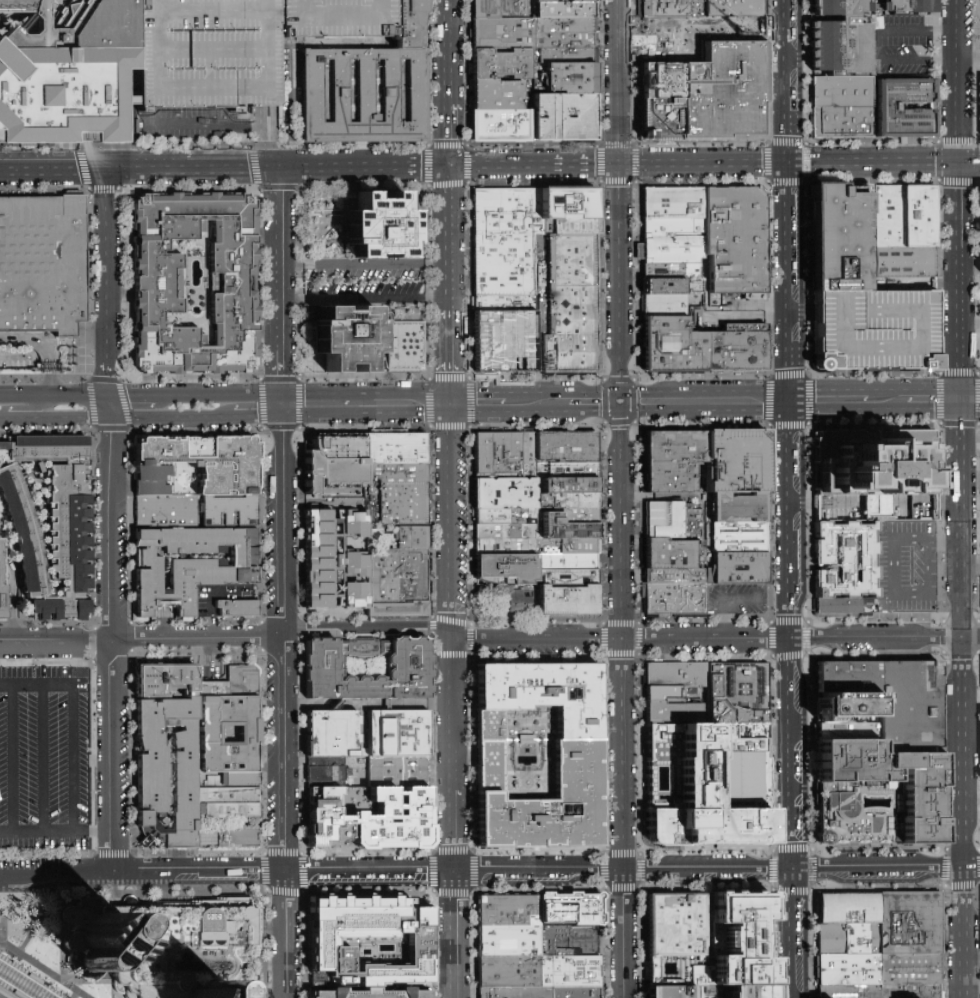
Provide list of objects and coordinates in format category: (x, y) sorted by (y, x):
building: (672, 1)
building: (558, 2)
building: (839, 6)
building: (907, 7)
building: (498, 9)
building: (734, 10)
building: (563, 11)
building: (672, 12)
building: (333, 18)
parking lot: (333, 18)
building: (407, 25)
building: (561, 25)
building: (501, 33)
building: (696, 37)
building: (561, 40)
road: (875, 44)
parking lot: (906, 46)
building: (842, 47)
road: (448, 52)
building: (561, 55)
road: (968, 59)
building: (501, 64)
building: (568, 77)
building: (842, 92)
building: (708, 93)
building: (496, 95)
building: (363, 97)
building: (911, 106)
building: (562, 116)
building: (842, 121)
building: (499, 125)
road: (449, 135)
road: (956, 162)
traffic signals: (956, 162)
traffic signals: (788, 163)
road: (489, 164)
traffic signals: (622, 164)
traffic signals: (450, 165)
traffic signals: (281, 167)
traffic signals: (109, 168)
road: (622, 200)
building: (671, 201)
building: (568, 209)
building: (906, 217)
building: (670, 224)
building: (379, 227)
building: (732, 236)
road: (450, 238)
building: (845, 239)
building: (503, 240)
building: (671, 247)
road: (365, 263)
building: (906, 265)
building: (42, 266)
building: (670, 270)
road: (976, 274)
parking lot: (363, 280)
road: (110, 281)
building: (157, 284)
road: (281, 285)
building: (565, 286)
building: (661, 286)
road: (366, 298)
building: (503, 303)
building: (663, 304)
road: (801, 312)
road: (969, 324)
building: (873, 330)
parking lot: (873, 330)
road: (959, 335)
building: (345, 336)
building: (504, 341)
building: (671, 343)
road: (946, 345)
building: (735, 346)
building: (403, 347)
building: (566, 356)
road: (451, 357)
road: (959, 373)
road: (978, 373)
road: (66, 395)
traffic signals: (111, 395)
road: (135, 395)
road: (205, 395)
road: (11, 396)
road: (266, 398)
road: (970, 400)
road: (836, 401)
road: (895, 401)
road: (934, 401)
traffic signals: (961, 401)
road: (594, 402)
traffic signals: (623, 402)
road: (706, 402)
traffic signals: (789, 402)
road: (397, 403)
traffic signals: (451, 403)
road: (475, 403)
road: (532, 403)
traffic signals: (282, 404)
road: (313, 404)
road: (17, 405)
road: (111, 406)
road: (267, 413)
road: (55, 417)
traffic signals: (111, 417)
road: (169, 417)
road: (238, 417)
building: (395, 448)
building: (568, 448)
building: (678, 448)
building: (499, 455)
building: (531, 456)
building: (333, 463)
building: (197, 464)
building: (738, 464)
building: (568, 472)
building: (875, 476)
building: (672, 480)
building: (569, 486)
building: (400, 492)
building: (506, 493)
road: (789, 498)
building: (568, 500)
building: (741, 509)
building: (229, 510)
building: (165, 511)
building: (579, 515)
building: (493, 517)
road: (283, 520)
building: (51, 525)
building: (565, 529)
building: (411, 538)
building: (675, 538)
building: (380, 539)
building: (741, 539)
building: (506, 540)
building: (573, 546)
building: (333, 560)
building: (844, 560)
road: (970, 560)
building: (569, 564)
building: (193, 565)
parking lot: (906, 567)
building: (506, 569)
building: (740, 570)
road: (451, 575)
building: (675, 576)
building: (569, 579)
building: (396, 583)
building: (2, 591)
building: (518, 591)
building: (568, 599)
road: (720, 599)
parking lot: (738, 599)
park: (491, 600)
building: (678, 600)
building: (524, 602)
building: (846, 606)
building: (236, 608)
road: (210, 613)
road: (368, 626)
road: (960, 634)
road: (142, 637)
road: (620, 637)
road: (715, 638)
road: (110, 647)
building: (406, 666)
building: (166, 679)
building: (234, 682)
building: (676, 694)
building: (740, 694)
building: (894, 699)
road: (367, 706)
building: (848, 707)
building: (847, 729)
building: (397, 732)
building: (249, 734)
building: (333, 735)
building: (740, 741)
road: (42, 757)
road: (12, 758)
road: (71, 758)
building: (575, 766)
building: (172, 767)
road: (451, 768)
parking lot: (48, 769)
building: (398, 770)
building: (337, 773)
building: (887, 776)
building: (232, 779)
building: (706, 794)
building: (228, 796)
building: (230, 811)
building: (865, 812)
road: (285, 817)
building: (321, 820)
building: (393, 820)
road: (93, 830)
road: (451, 830)
building: (208, 838)
building: (239, 838)
road: (971, 868)
road: (537, 872)
road: (57, 878)
building: (849, 910)
building: (507, 911)
building: (569, 911)
building: (253, 914)
building: (677, 925)
building: (909, 925)
road: (963, 933)
road: (449, 934)
road: (622, 935)
building: (739, 938)
road: (31, 939)
building: (850, 940)
building: (507, 941)
building: (368, 944)
building: (165, 951)
road: (65, 955)
park: (41, 958)
road: (42, 970)
building: (571, 971)
building: (909, 971)
building: (510, 972)
building: (849, 972)
railway: (31, 977)
railway: (26, 981)
railway: (17, 986)
railway: (11, 990)
building: (517, 992)
building: (578, 992)
building: (670, 992)
building: (849, 992)
building: (910, 992)
building: (747, 993)
road: (5, 994)
building: (366, 994)
building: (256, 996)

